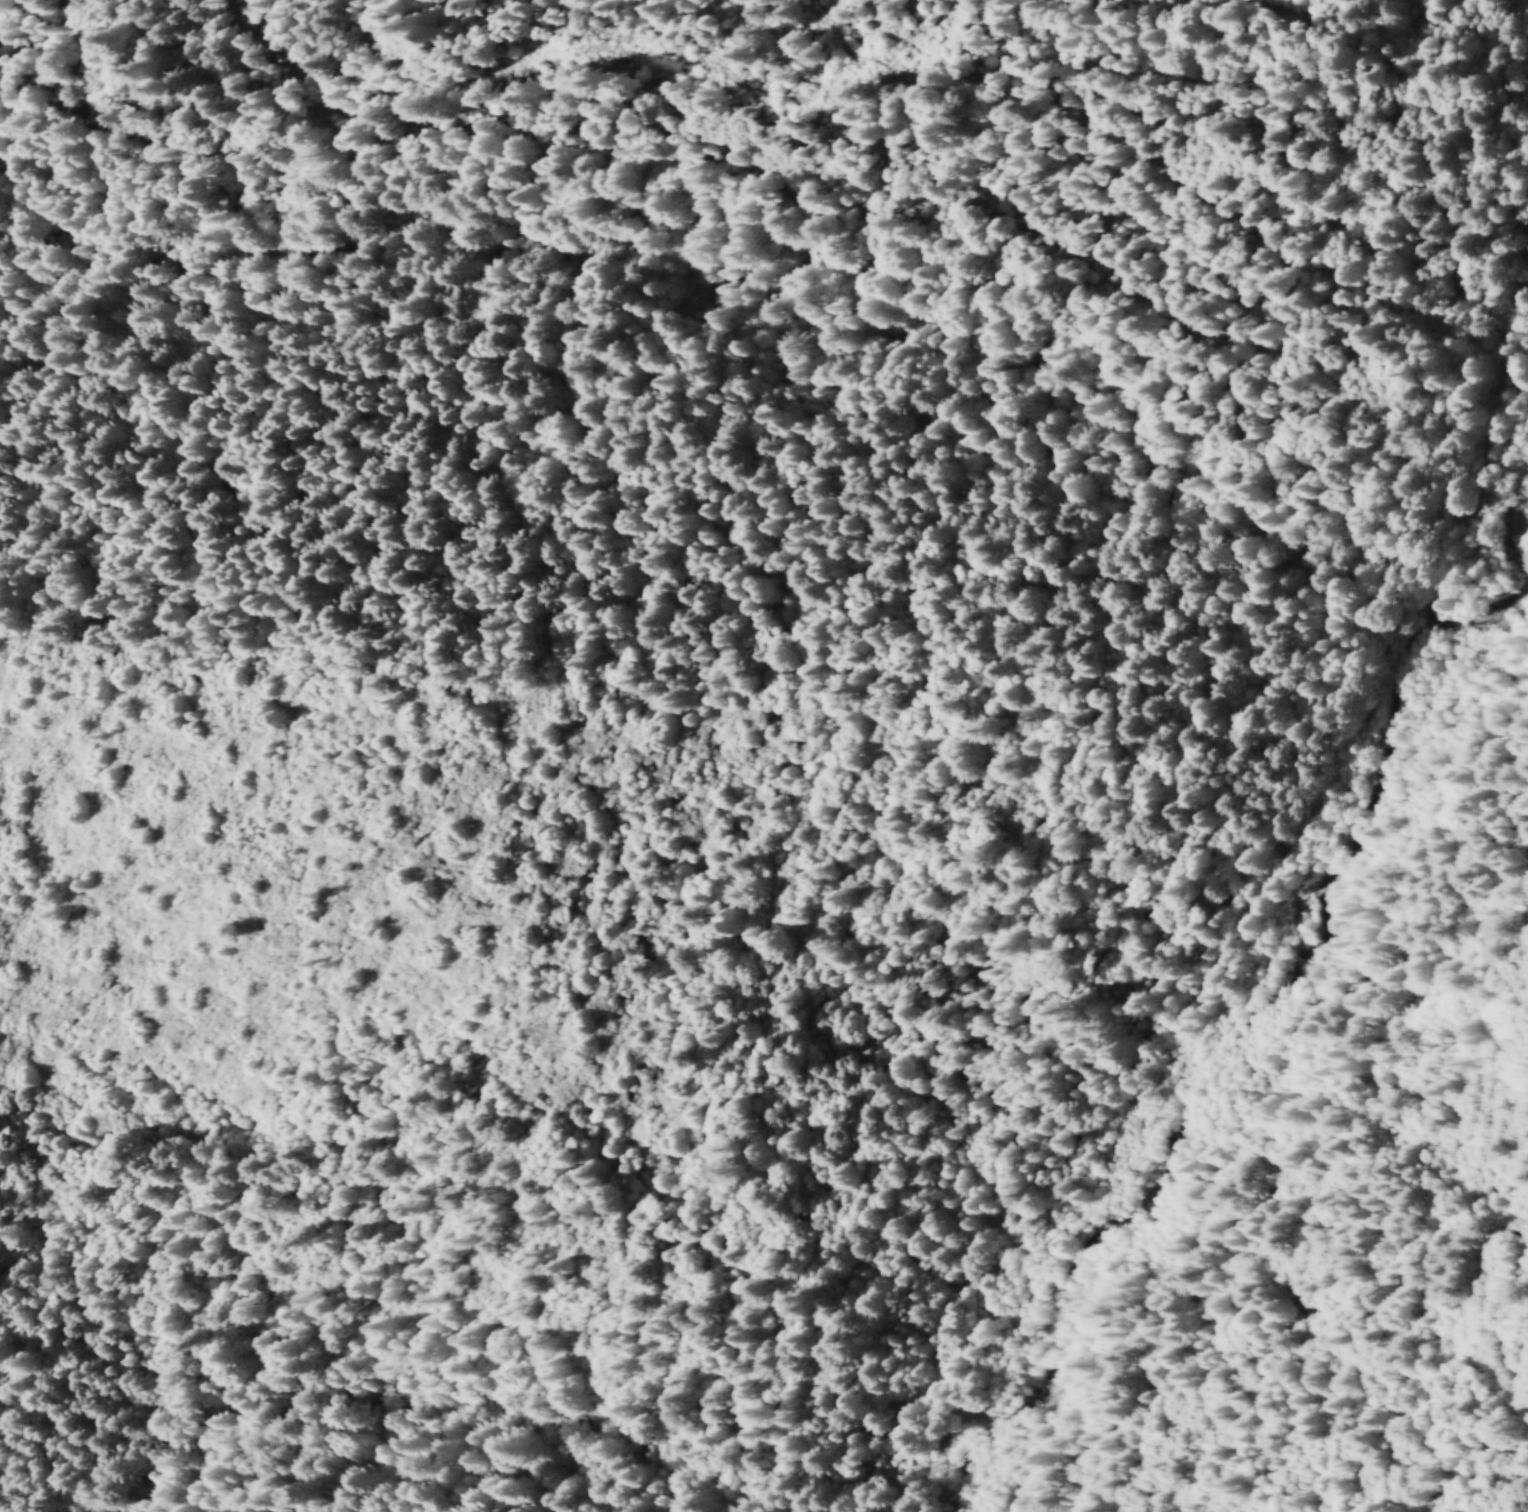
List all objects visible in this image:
road: (1352, 809)

